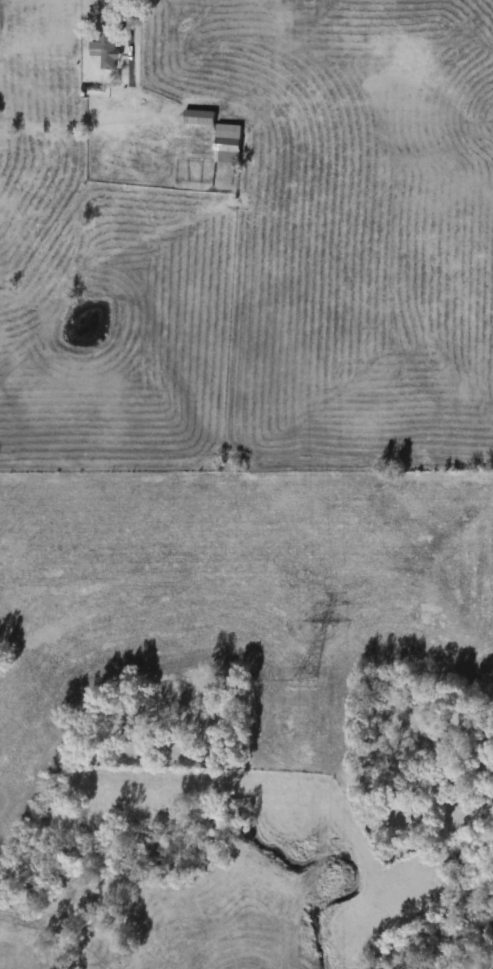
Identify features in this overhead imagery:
road: (136, 39)
building: (103, 46)
building: (197, 119)
building: (225, 144)
power tower: (300, 682)

